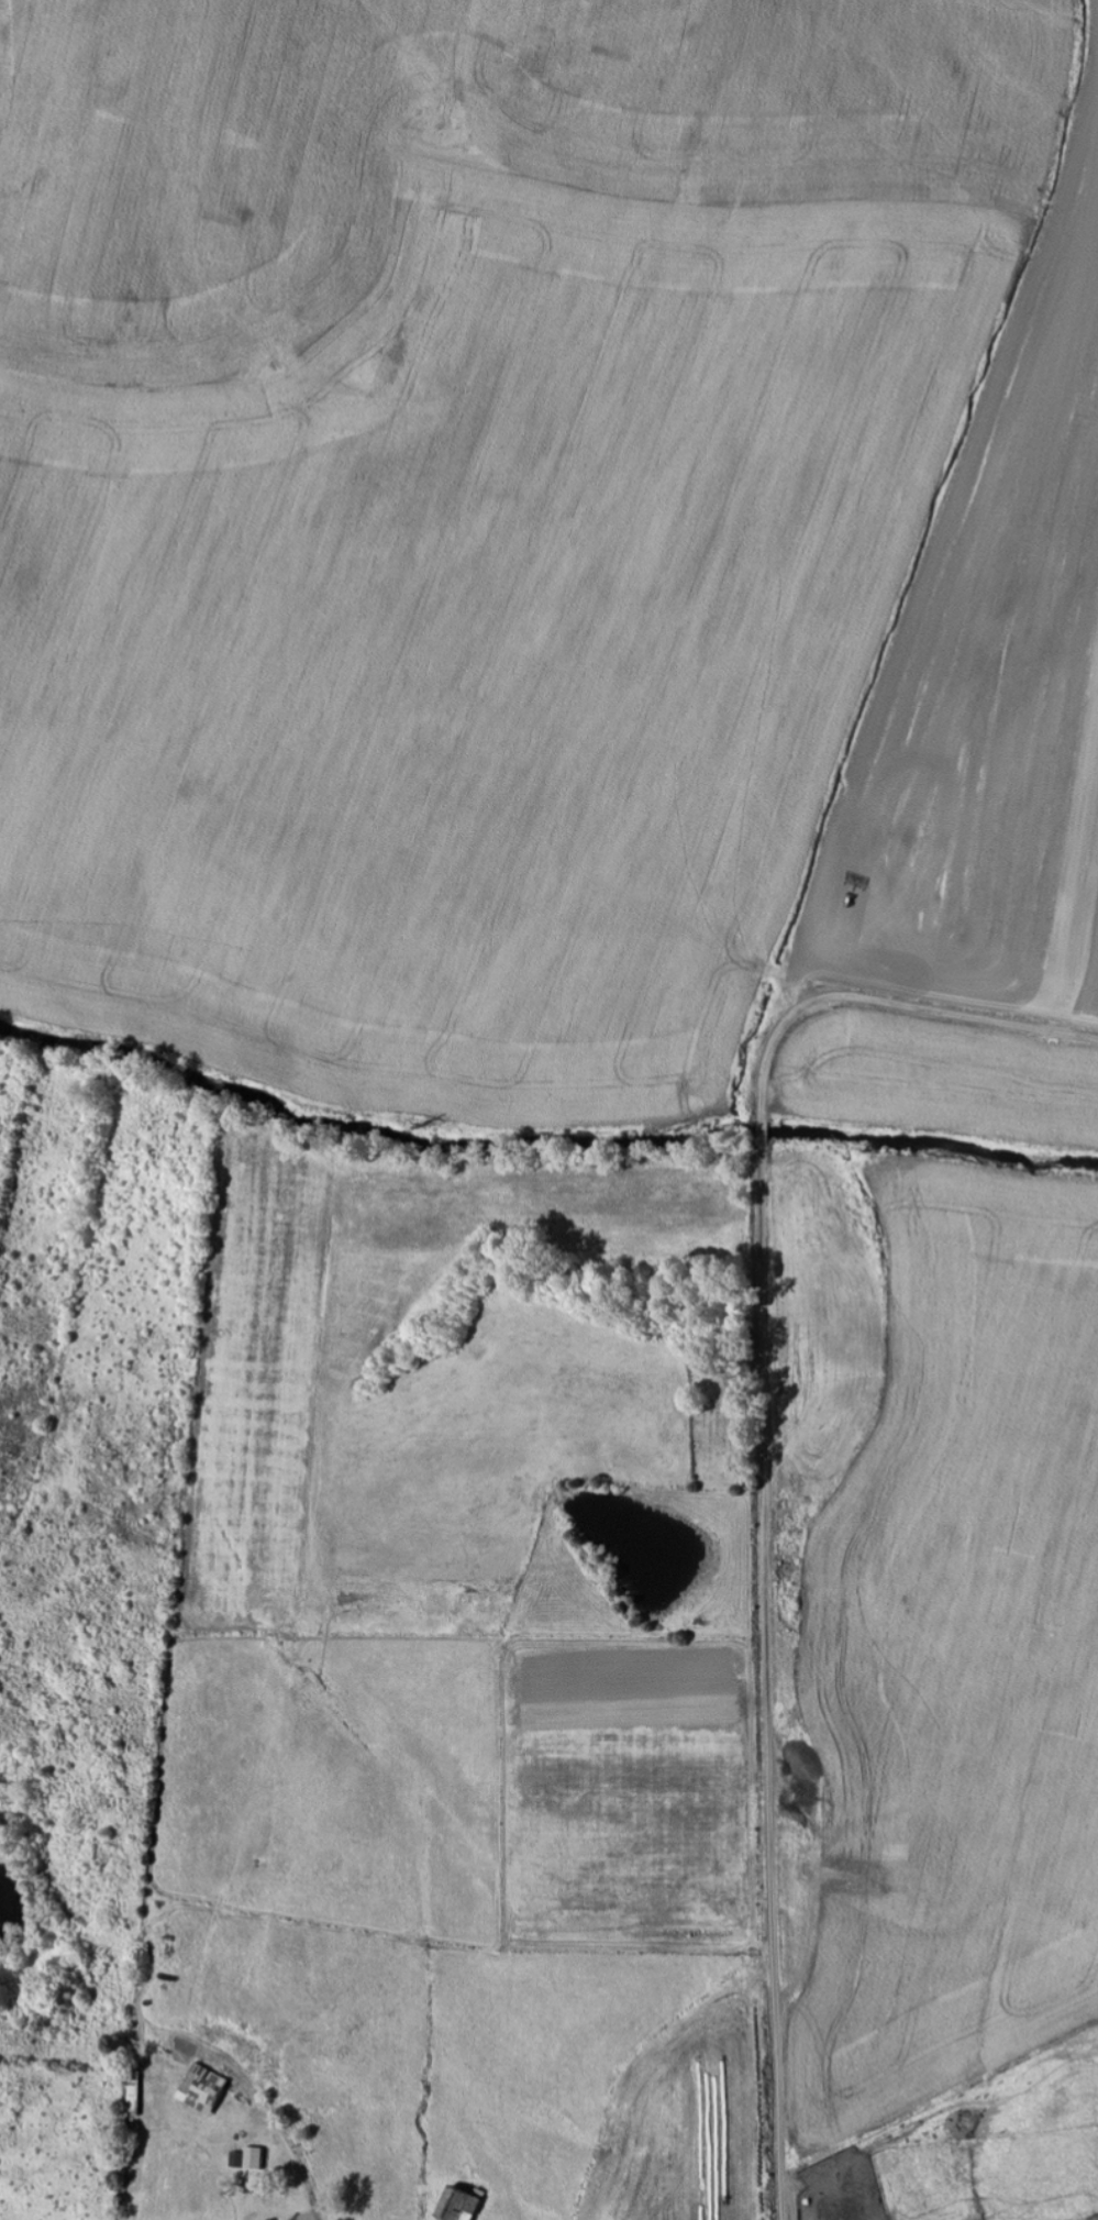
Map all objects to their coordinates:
park: (720, 1439)
road: (767, 1457)
building: (208, 2089)
building: (253, 2158)
building: (466, 2205)

